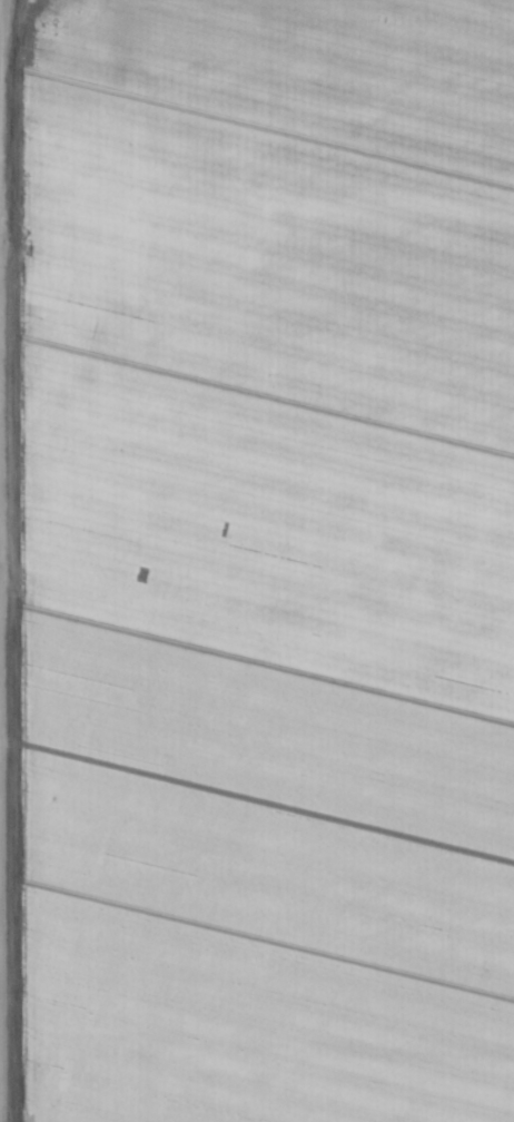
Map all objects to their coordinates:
crop: (257, 561)

